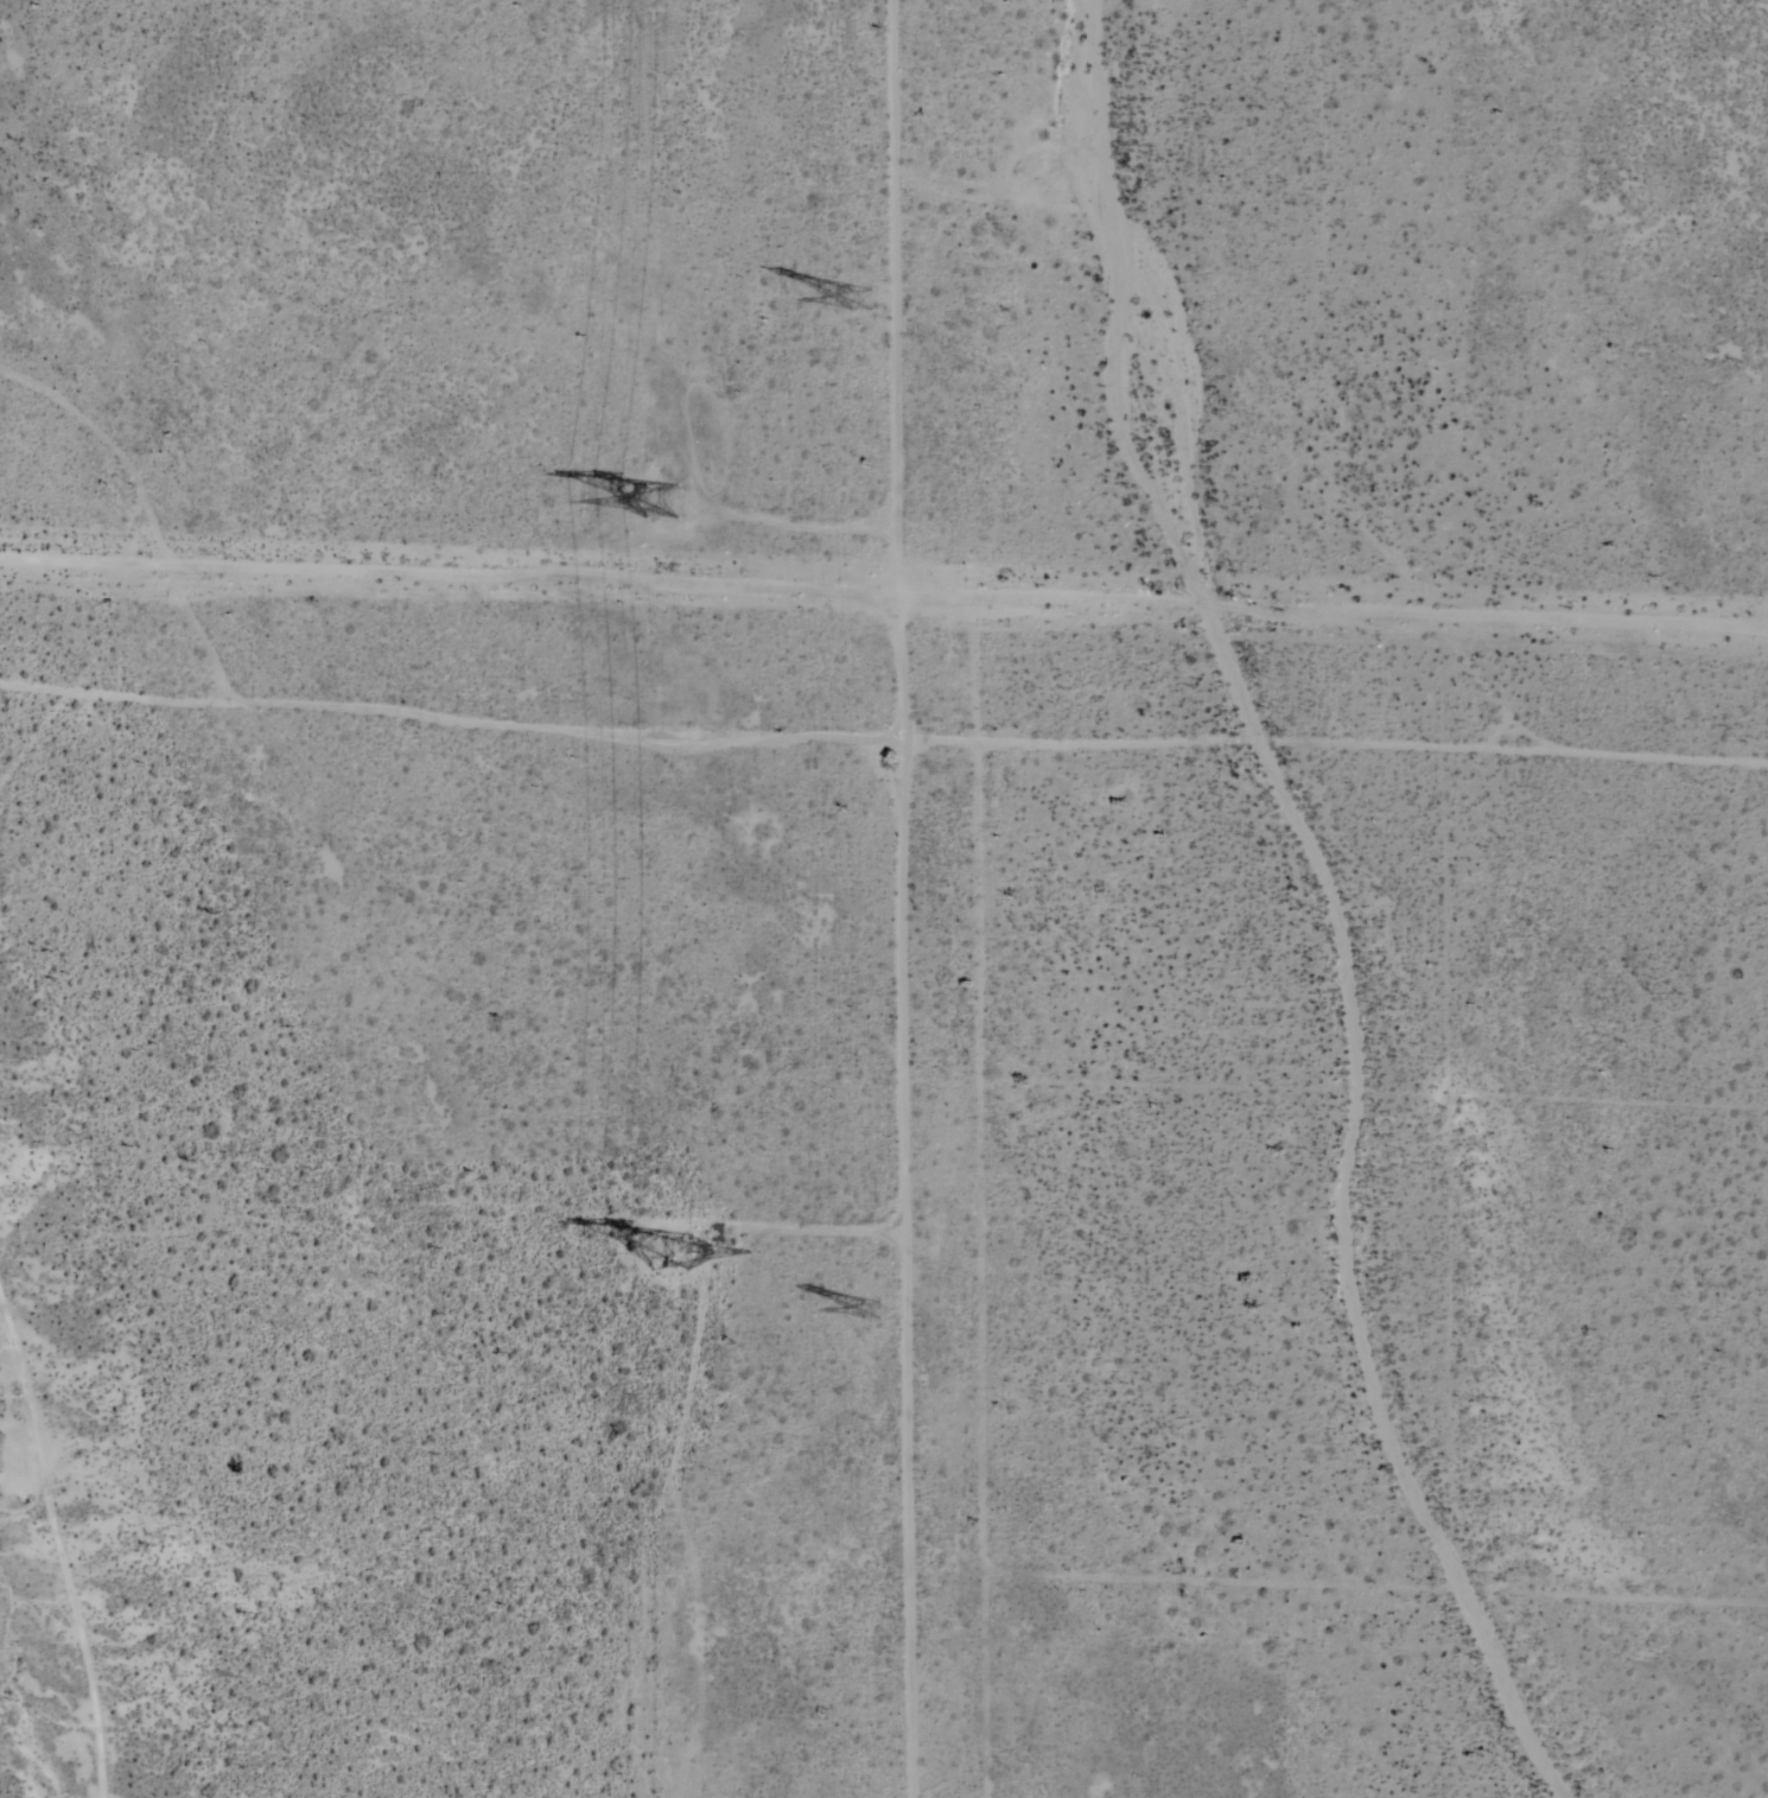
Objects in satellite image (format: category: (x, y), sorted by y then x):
power tower: (878, 301)
power tower: (662, 489)
road: (888, 738)
road: (19, 1006)
road: (1450, 1171)
power tower: (661, 1245)
road: (985, 1271)
power tower: (891, 1316)
road: (1374, 1589)
road: (64, 1597)

